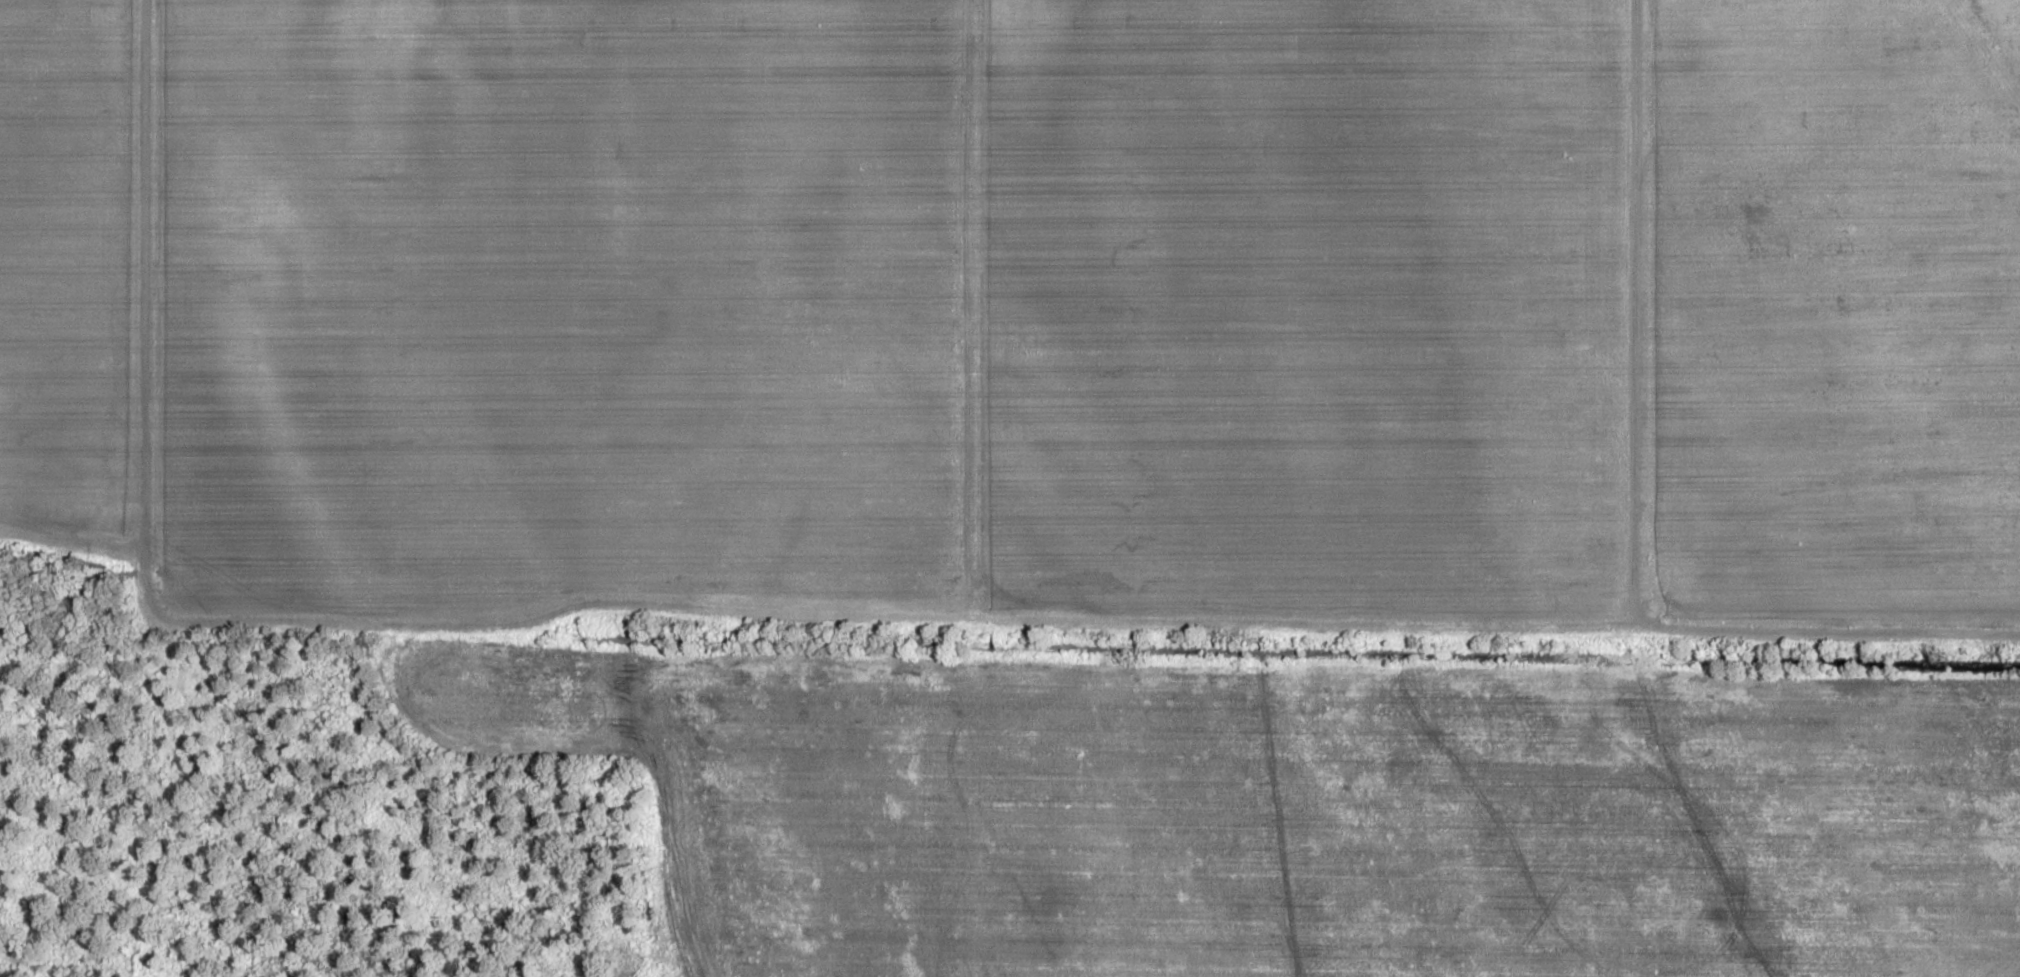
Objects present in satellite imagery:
road: (561, 608)
road: (665, 790)

